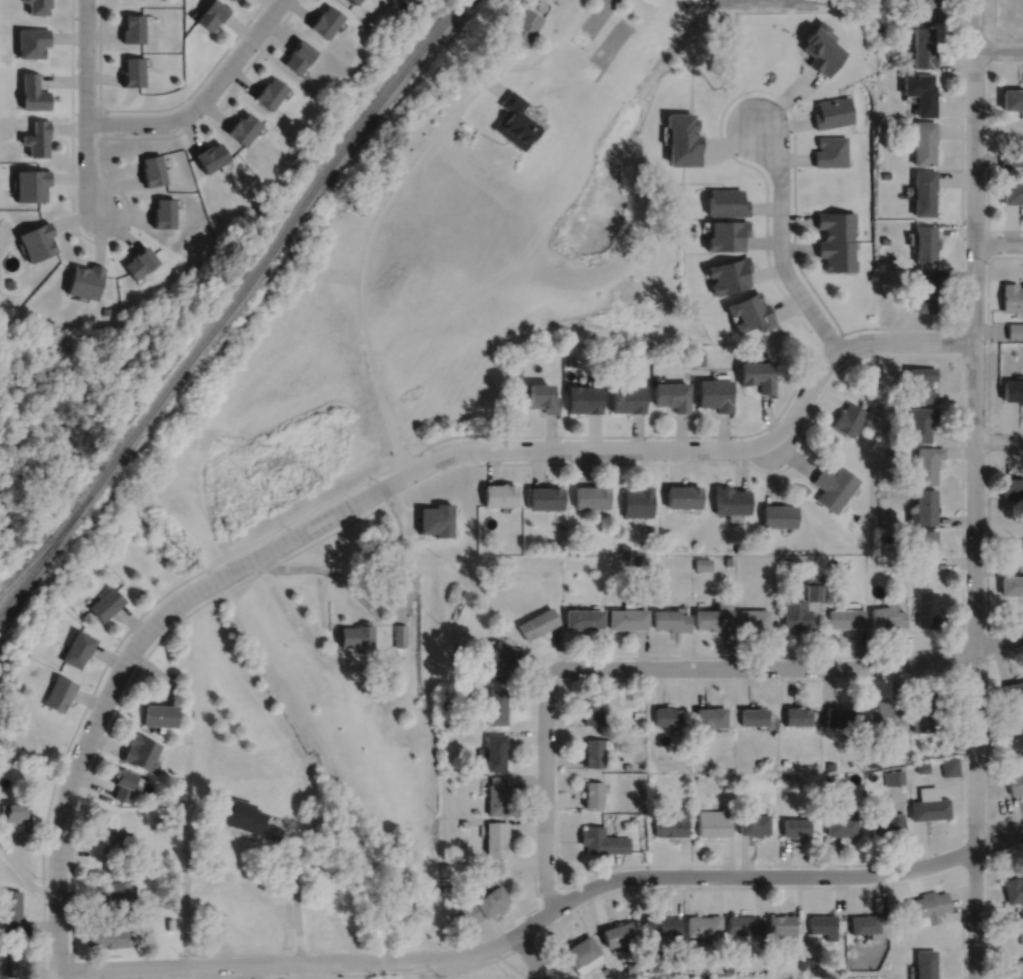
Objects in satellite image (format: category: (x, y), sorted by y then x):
building: (228, 0)
building: (352, 1)
building: (38, 5)
building: (924, 8)
building: (208, 13)
building: (324, 19)
building: (524, 25)
building: (882, 26)
building: (130, 27)
building: (32, 40)
building: (922, 45)
building: (821, 47)
road: (998, 49)
building: (297, 54)
road: (973, 62)
building: (130, 70)
building: (269, 91)
building: (920, 91)
building: (32, 92)
road: (737, 93)
building: (1010, 98)
road: (203, 99)
road: (218, 103)
road: (85, 107)
road: (152, 108)
building: (832, 111)
building: (514, 120)
building: (242, 127)
building: (37, 137)
building: (679, 138)
building: (923, 141)
road: (987, 144)
building: (830, 150)
building: (208, 155)
building: (1010, 157)
building: (151, 169)
building: (884, 174)
building: (31, 184)
building: (923, 191)
building: (1012, 191)
road: (388, 202)
building: (724, 202)
road: (71, 208)
building: (163, 212)
building: (836, 224)
building: (725, 235)
building: (35, 241)
road: (987, 242)
road: (998, 242)
road: (780, 243)
building: (925, 243)
building: (836, 255)
building: (138, 262)
building: (727, 275)
building: (83, 280)
building: (9, 283)
building: (923, 291)
building: (1011, 297)
railway: (226, 303)
building: (107, 310)
building: (748, 313)
building: (1014, 330)
road: (961, 339)
road: (987, 340)
building: (702, 351)
building: (697, 359)
building: (568, 360)
building: (516, 370)
building: (757, 375)
building: (920, 385)
building: (1011, 391)
building: (713, 395)
building: (670, 396)
building: (539, 398)
building: (582, 399)
building: (626, 399)
building: (848, 419)
building: (919, 424)
road: (521, 435)
road: (987, 439)
road: (998, 439)
road: (579, 448)
building: (889, 450)
building: (927, 461)
road: (961, 470)
building: (840, 477)
building: (1012, 485)
road: (974, 489)
building: (500, 492)
building: (683, 493)
building: (829, 493)
building: (591, 494)
building: (546, 495)
building: (731, 498)
building: (638, 499)
building: (925, 505)
building: (436, 509)
building: (779, 513)
building: (436, 524)
building: (887, 536)
road: (987, 542)
railway: (45, 543)
building: (926, 544)
building: (589, 546)
building: (623, 546)
building: (738, 546)
building: (729, 559)
building: (833, 561)
building: (703, 562)
road: (333, 573)
building: (411, 576)
building: (1011, 583)
building: (812, 586)
building: (464, 593)
road: (320, 597)
building: (105, 601)
building: (928, 608)
building: (795, 612)
building: (888, 614)
building: (715, 615)
building: (582, 616)
building: (753, 616)
building: (845, 616)
building: (627, 617)
building: (670, 618)
building: (537, 621)
building: (399, 633)
building: (356, 634)
road: (986, 643)
building: (76, 647)
road: (572, 656)
building: (498, 658)
road: (789, 666)
building: (1014, 688)
building: (57, 692)
building: (495, 705)
building: (593, 709)
building: (923, 709)
building: (636, 713)
building: (159, 714)
building: (666, 714)
building: (797, 714)
building: (753, 715)
building: (841, 715)
building: (885, 715)
building: (710, 716)
building: (185, 736)
road: (986, 744)
building: (461, 749)
building: (139, 750)
building: (493, 750)
building: (594, 750)
building: (784, 761)
building: (873, 761)
building: (830, 764)
building: (627, 765)
building: (695, 765)
building: (949, 765)
building: (922, 766)
building: (784, 775)
building: (828, 775)
building: (893, 776)
building: (684, 778)
building: (1015, 778)
road: (70, 779)
building: (121, 783)
road: (545, 787)
building: (593, 793)
building: (496, 794)
building: (929, 803)
building: (13, 811)
building: (238, 814)
building: (632, 818)
building: (672, 821)
building: (713, 821)
building: (156, 822)
building: (463, 822)
building: (887, 822)
building: (754, 823)
building: (842, 823)
building: (796, 826)
building: (495, 837)
building: (602, 840)
building: (114, 841)
road: (24, 876)
road: (624, 887)
road: (294, 888)
building: (446, 888)
building: (1012, 888)
road: (185, 889)
building: (116, 895)
road: (549, 896)
road: (986, 897)
building: (483, 904)
building: (928, 907)
building: (1021, 911)
building: (11, 912)
road: (542, 915)
building: (662, 924)
building: (744, 924)
building: (865, 924)
building: (704, 925)
building: (782, 925)
building: (823, 925)
building: (1021, 934)
building: (620, 935)
building: (104, 936)
road: (531, 954)
building: (582, 954)
building: (16, 963)
building: (927, 964)
building: (633, 967)
building: (653, 967)
building: (1013, 968)
building: (605, 969)
building: (728, 969)
road: (185, 972)

